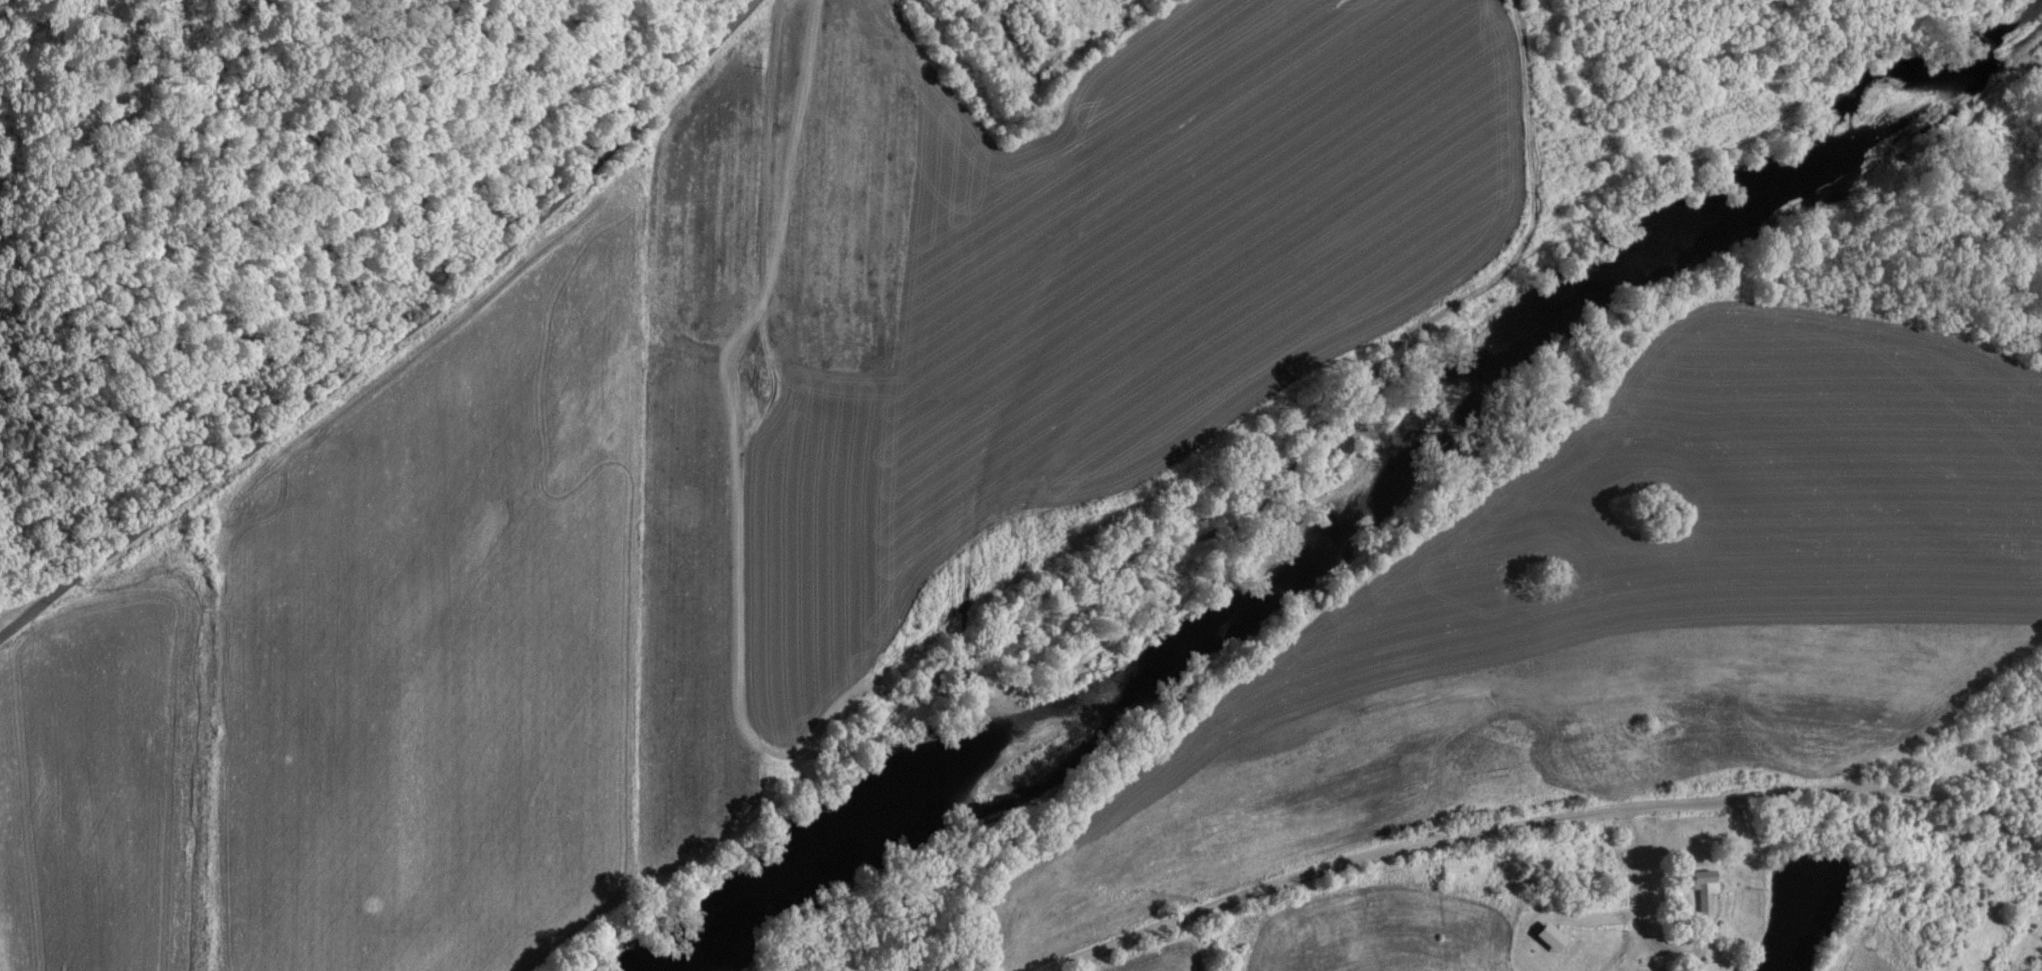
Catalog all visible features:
road: (391, 333)
crop: (719, 474)
river: (1354, 481)
crop: (1638, 697)
road: (1545, 822)
building: (1700, 892)
road: (1650, 915)
building: (1544, 938)

